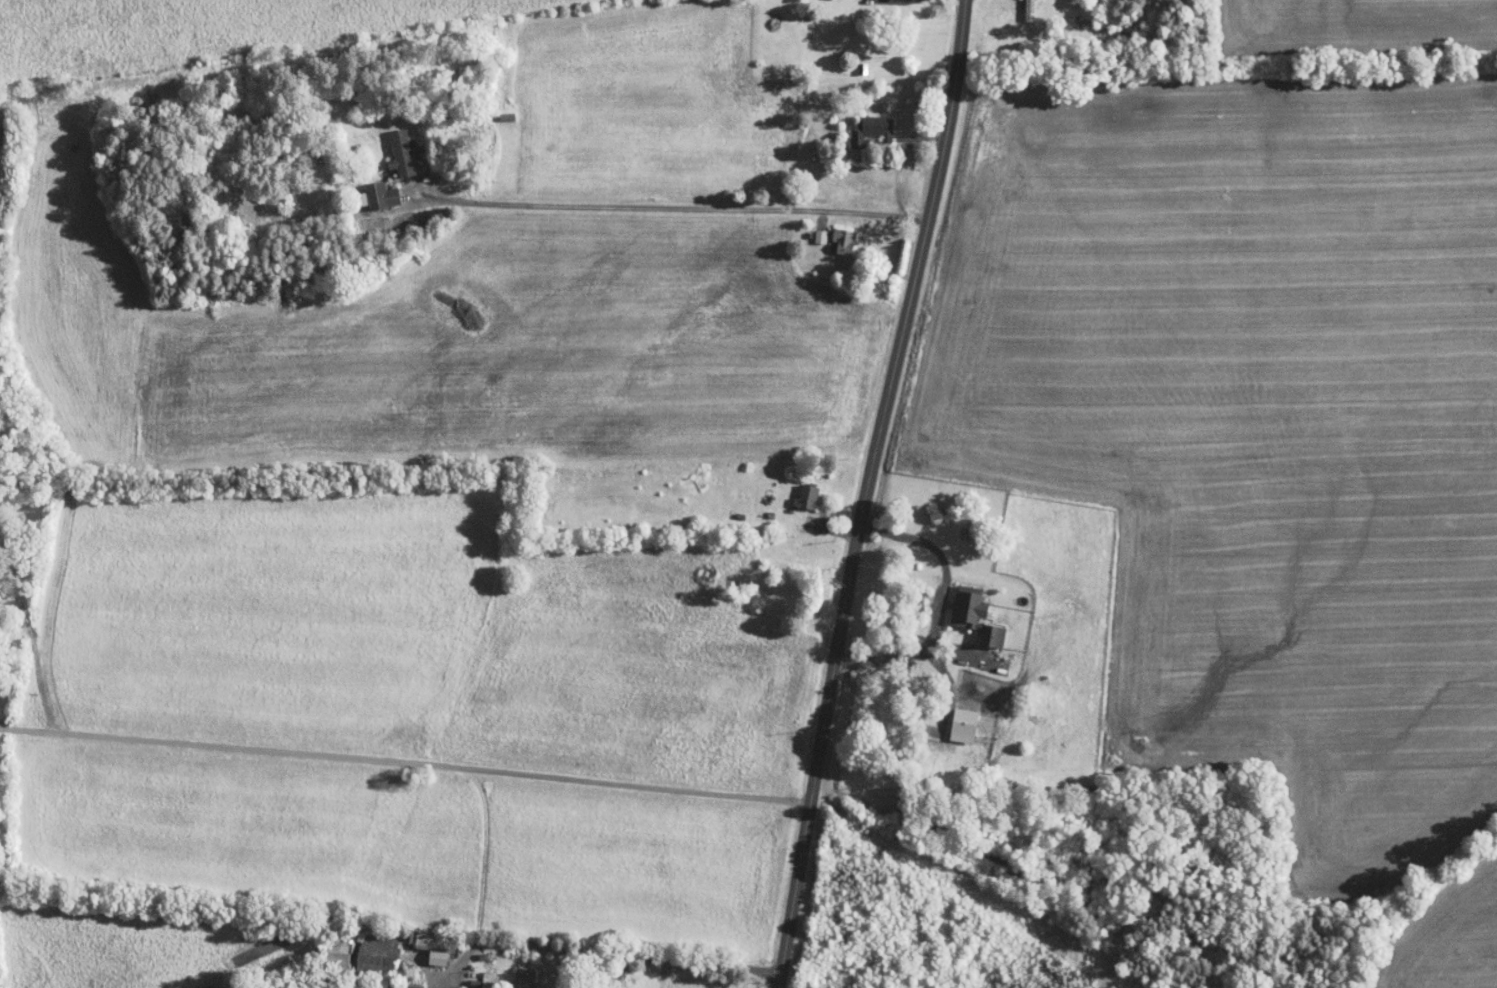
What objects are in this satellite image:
building: (1018, 6)
building: (860, 123)
building: (390, 145)
road: (902, 157)
building: (369, 188)
road: (675, 208)
building: (809, 229)
building: (832, 234)
building: (795, 489)
road: (869, 492)
road: (877, 510)
road: (940, 605)
building: (964, 609)
road: (29, 626)
building: (952, 718)
road: (406, 759)
building: (423, 939)
building: (365, 946)
road: (600, 951)
building: (477, 975)
building: (512, 975)

